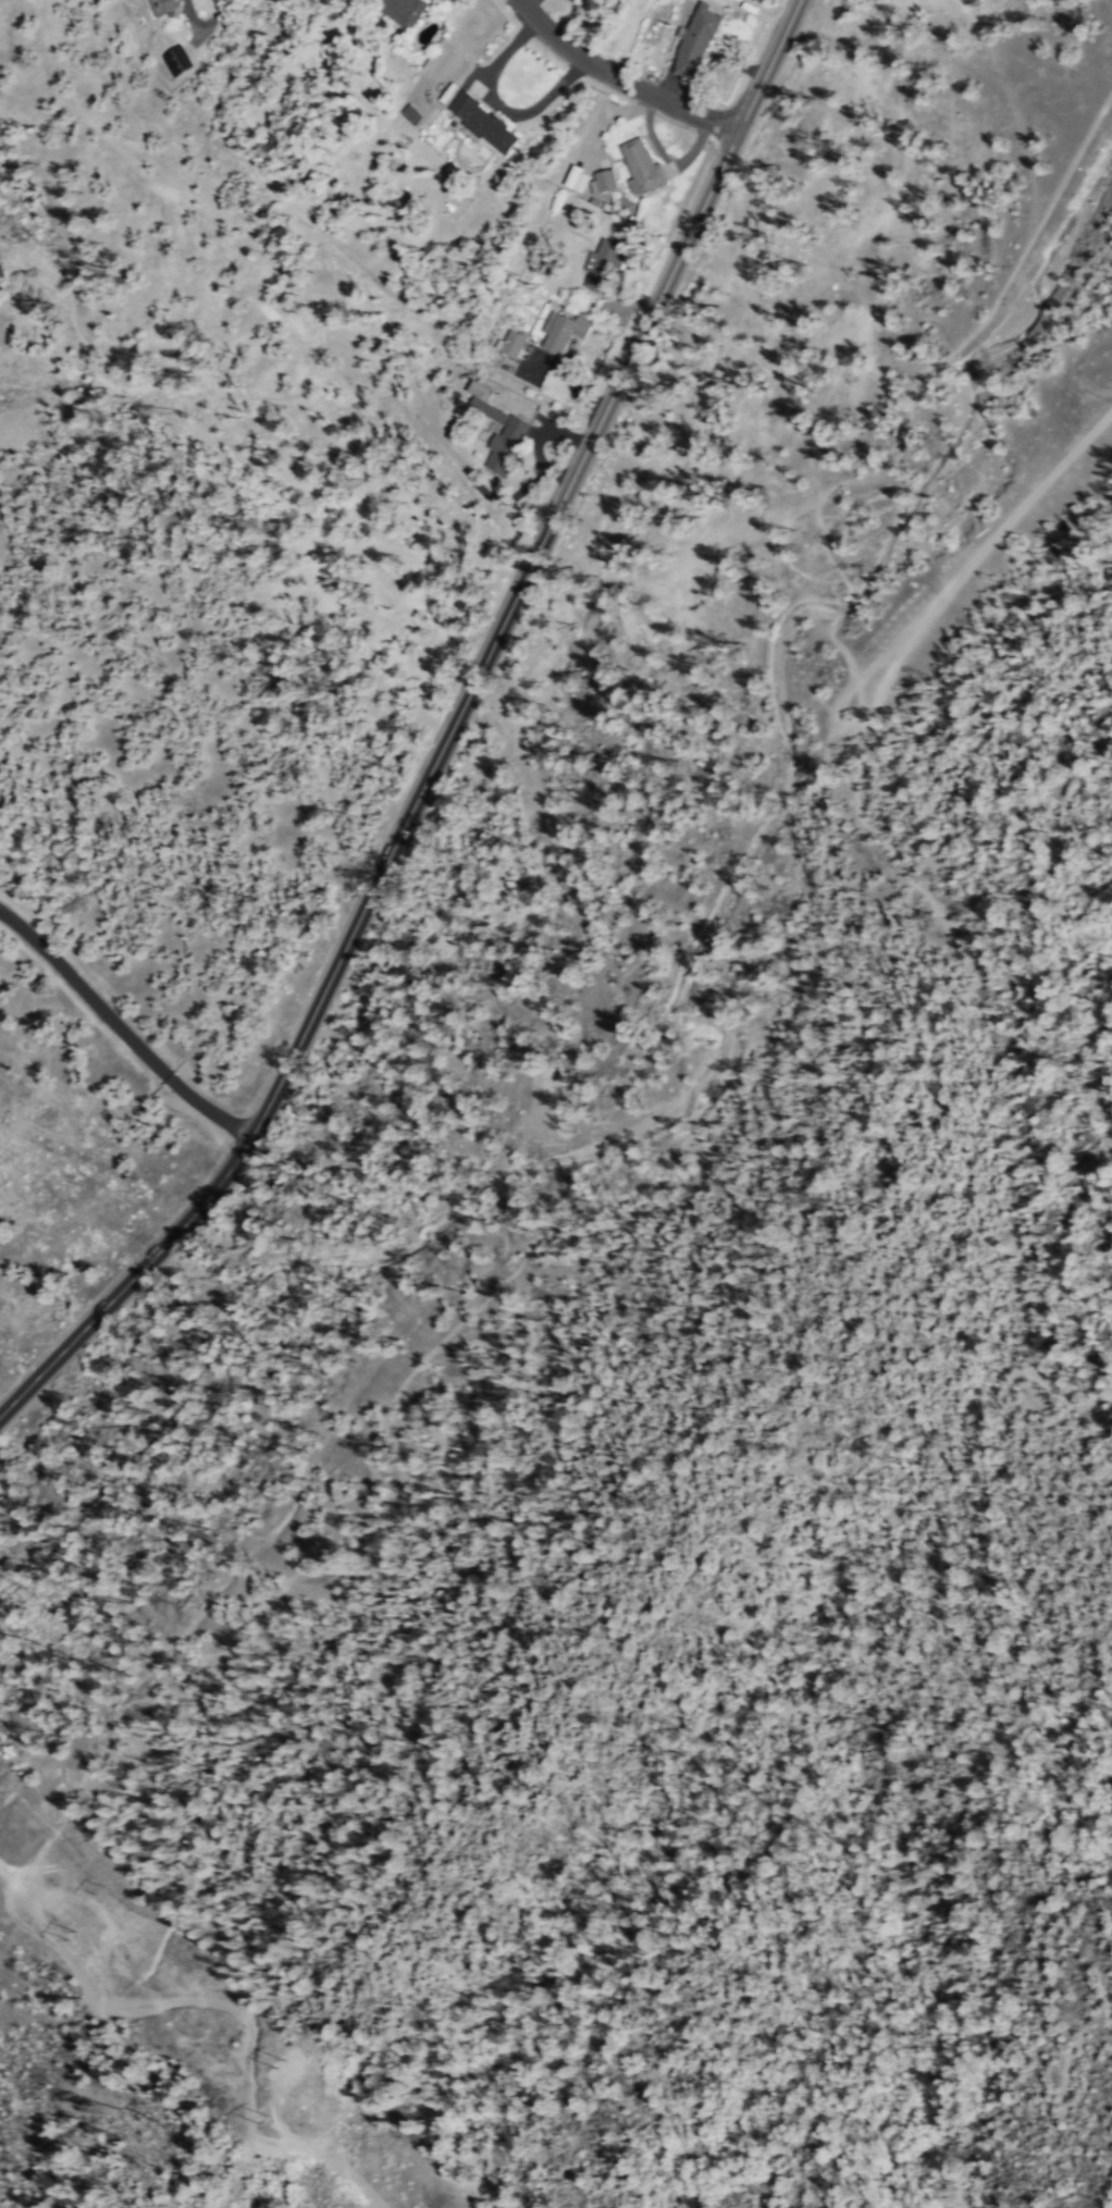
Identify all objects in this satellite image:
building: (164, 7)
building: (400, 11)
building: (696, 40)
building: (176, 58)
road: (767, 65)
road: (619, 87)
building: (410, 112)
building: (483, 122)
building: (641, 164)
building: (580, 181)
building: (605, 181)
building: (603, 264)
building: (563, 332)
building: (512, 342)
building: (503, 363)
building: (515, 429)
road: (1006, 525)
road: (841, 721)
road: (416, 805)
road: (803, 1009)
road: (121, 1027)
road: (466, 1320)
road: (245, 1638)
power tower: (99, 1890)
road: (49, 1895)
road: (120, 1924)
power tower: (71, 1936)
road: (125, 2009)
power tower: (277, 2057)
road: (1065, 2096)
power tower: (268, 2124)
road: (254, 2134)
road: (317, 2149)

